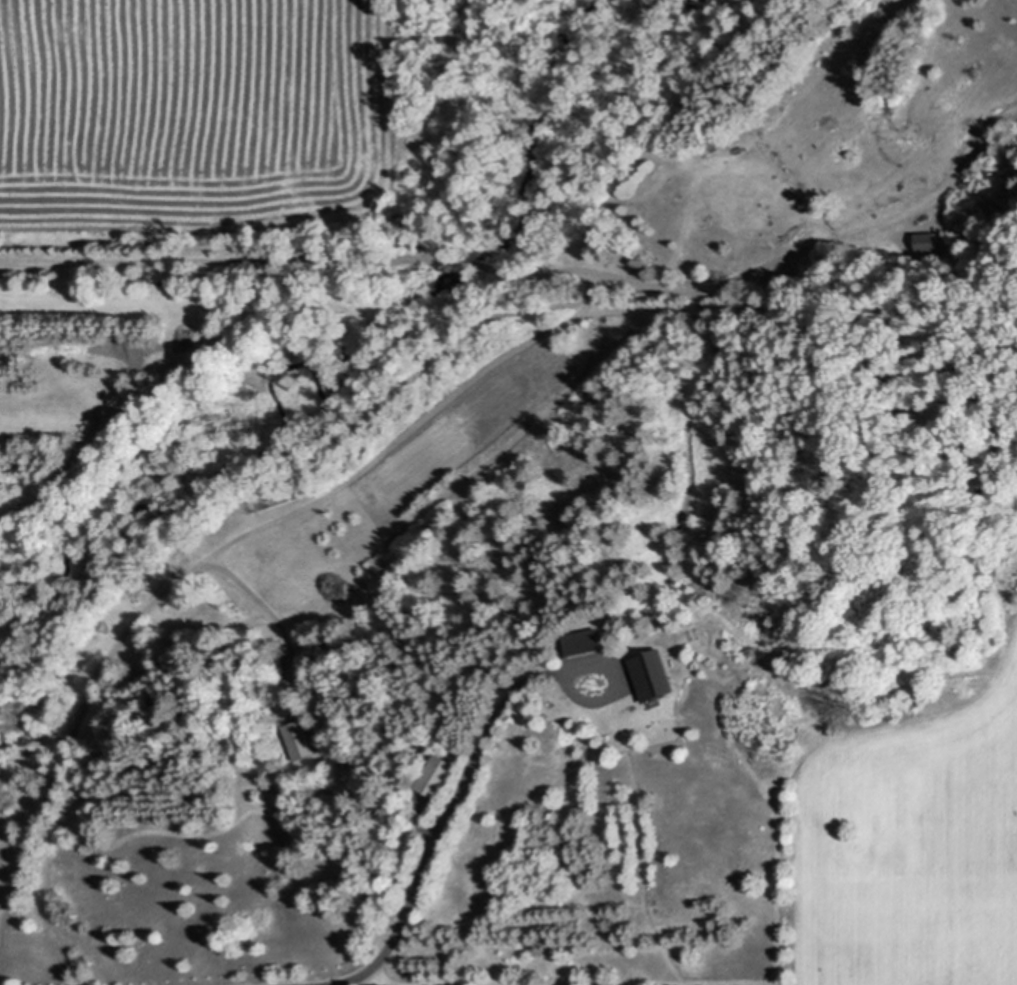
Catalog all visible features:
building: (851, 153)
building: (592, 239)
building: (926, 241)
building: (642, 262)
building: (770, 276)
building: (584, 642)
building: (653, 674)
building: (297, 739)
building: (437, 775)
road: (443, 835)

